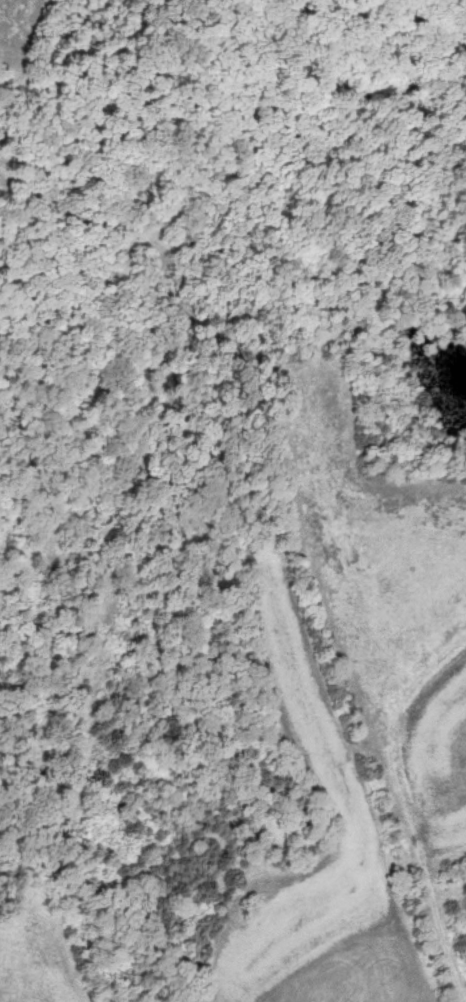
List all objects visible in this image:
park: (232, 400)
road: (297, 511)

